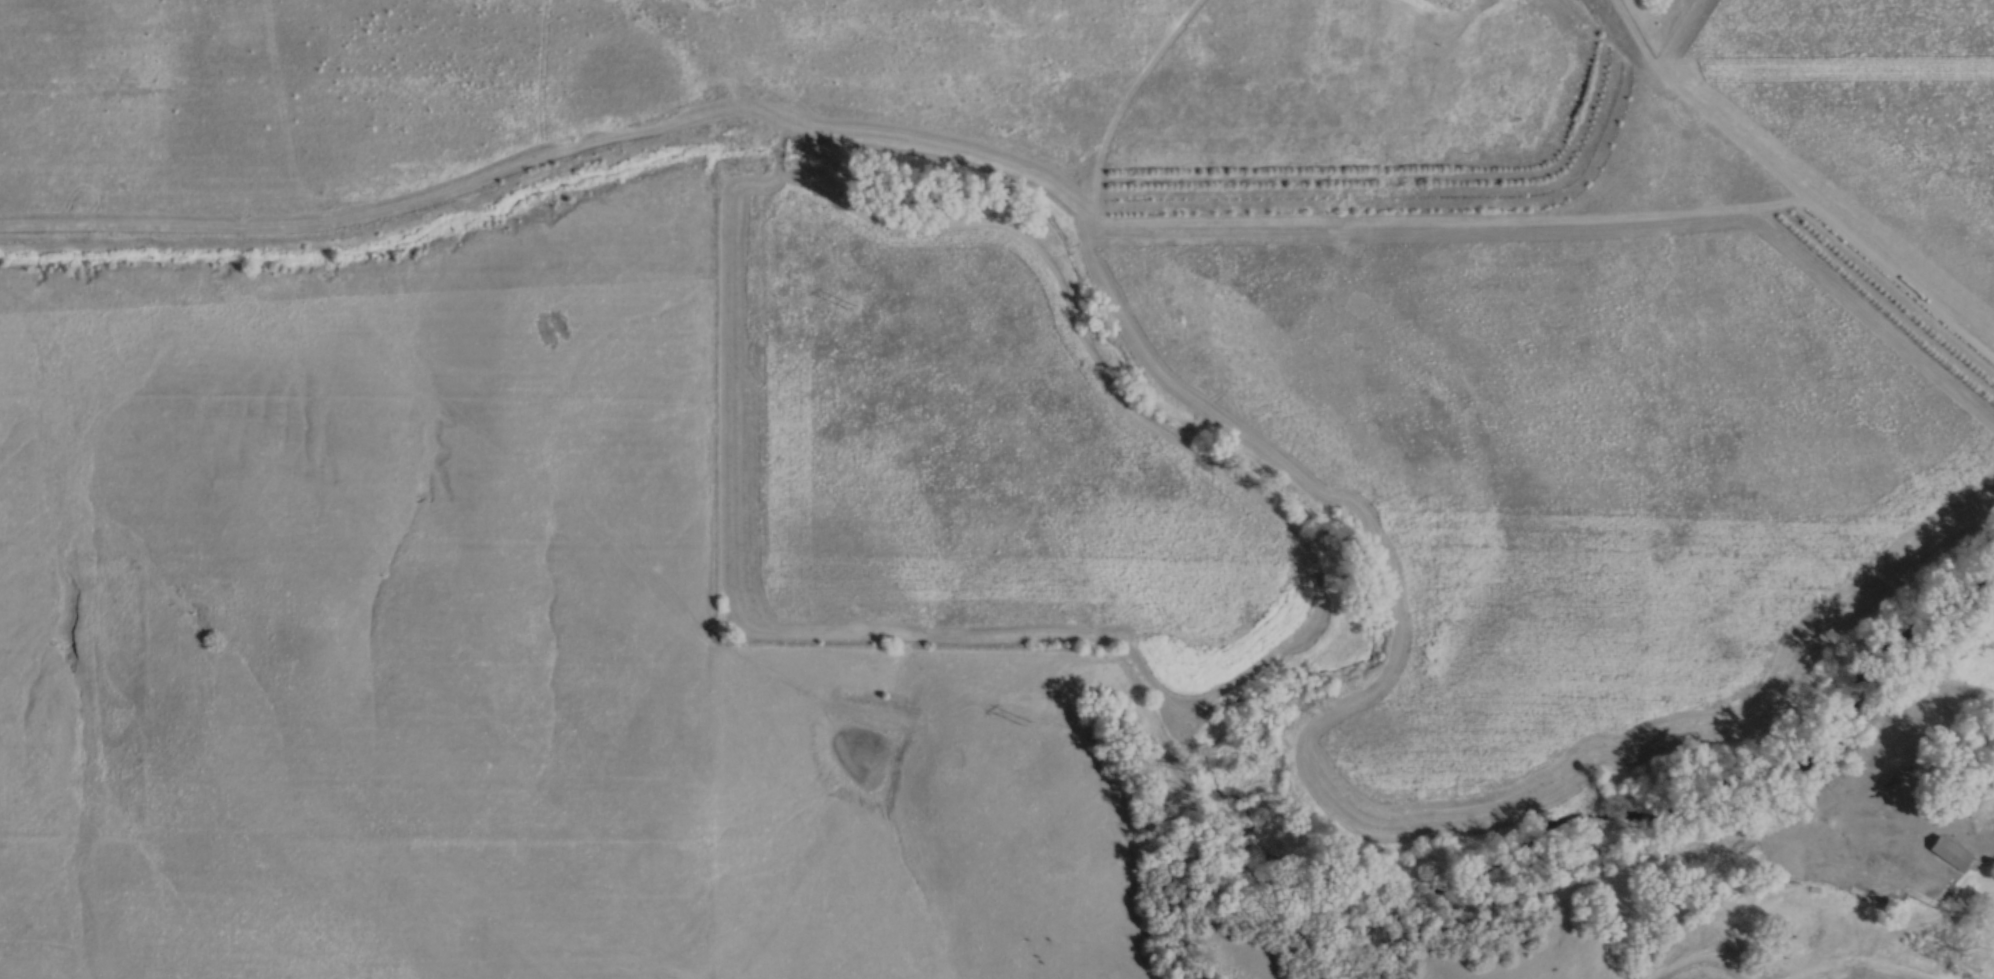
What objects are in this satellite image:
power tower: (852, 306)
power tower: (1029, 722)
building: (1951, 852)

